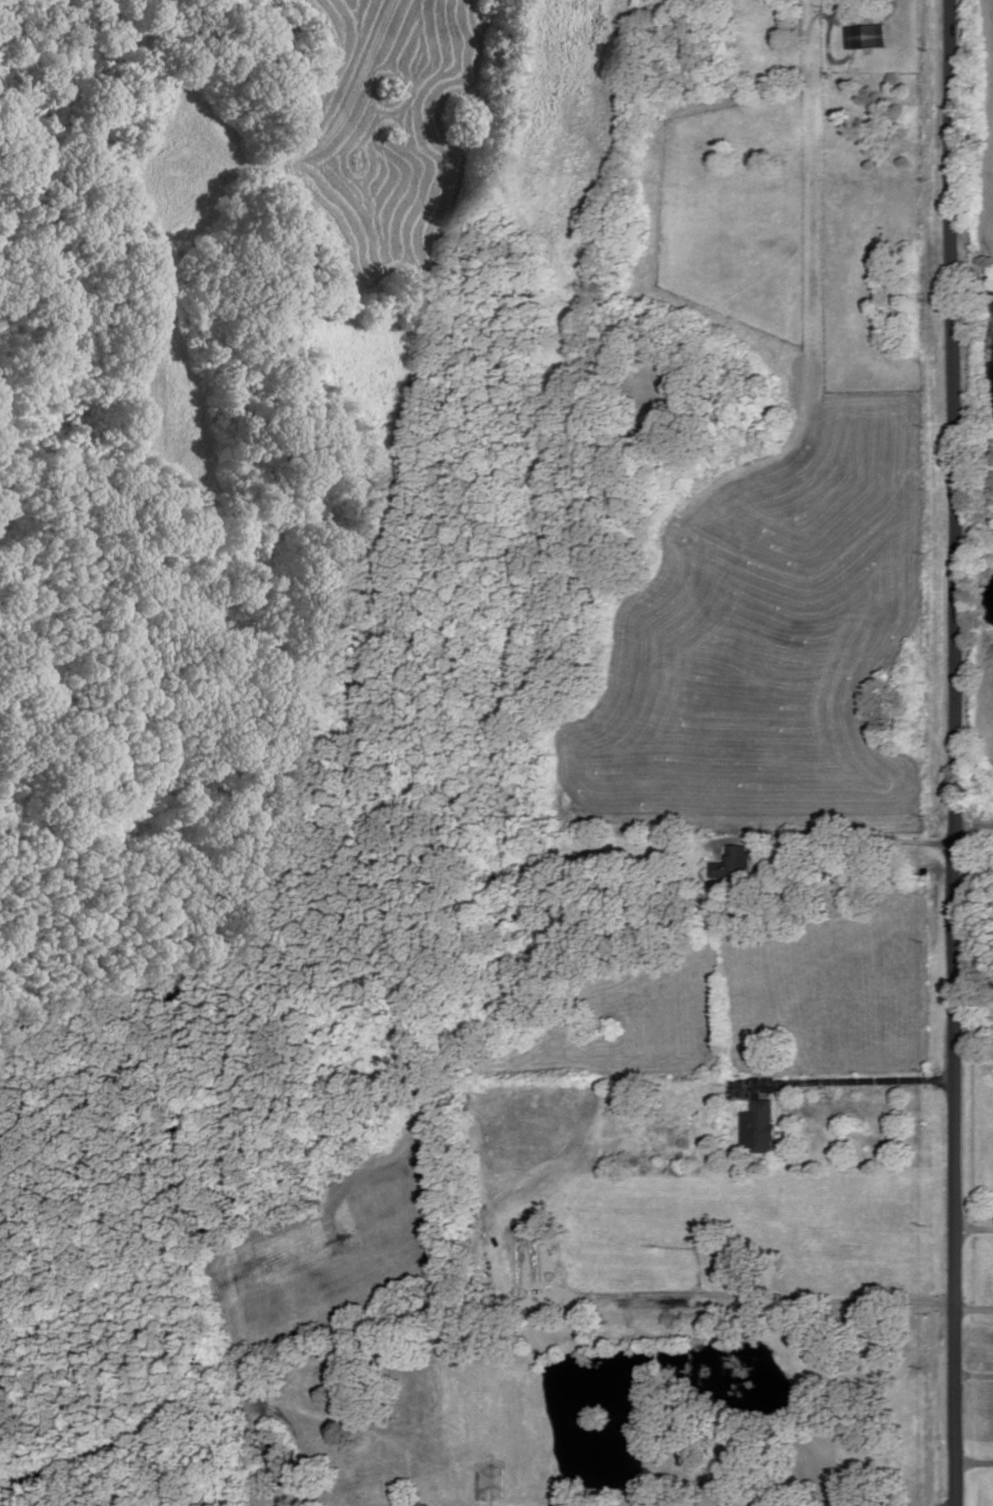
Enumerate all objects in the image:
building: (867, 35)
road: (952, 753)
road: (973, 823)
road: (841, 837)
building: (735, 863)
road: (973, 1024)
road: (846, 1075)
building: (760, 1126)
road: (974, 1225)
road: (761, 1296)
road: (972, 1306)
road: (973, 1373)
road: (974, 1461)
building: (427, 1489)
road: (953, 1505)

